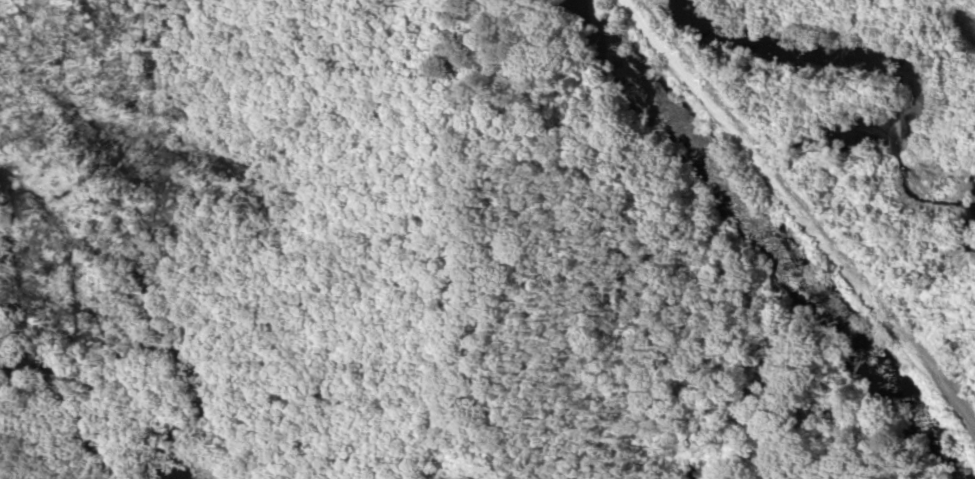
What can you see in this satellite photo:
road: (804, 217)

